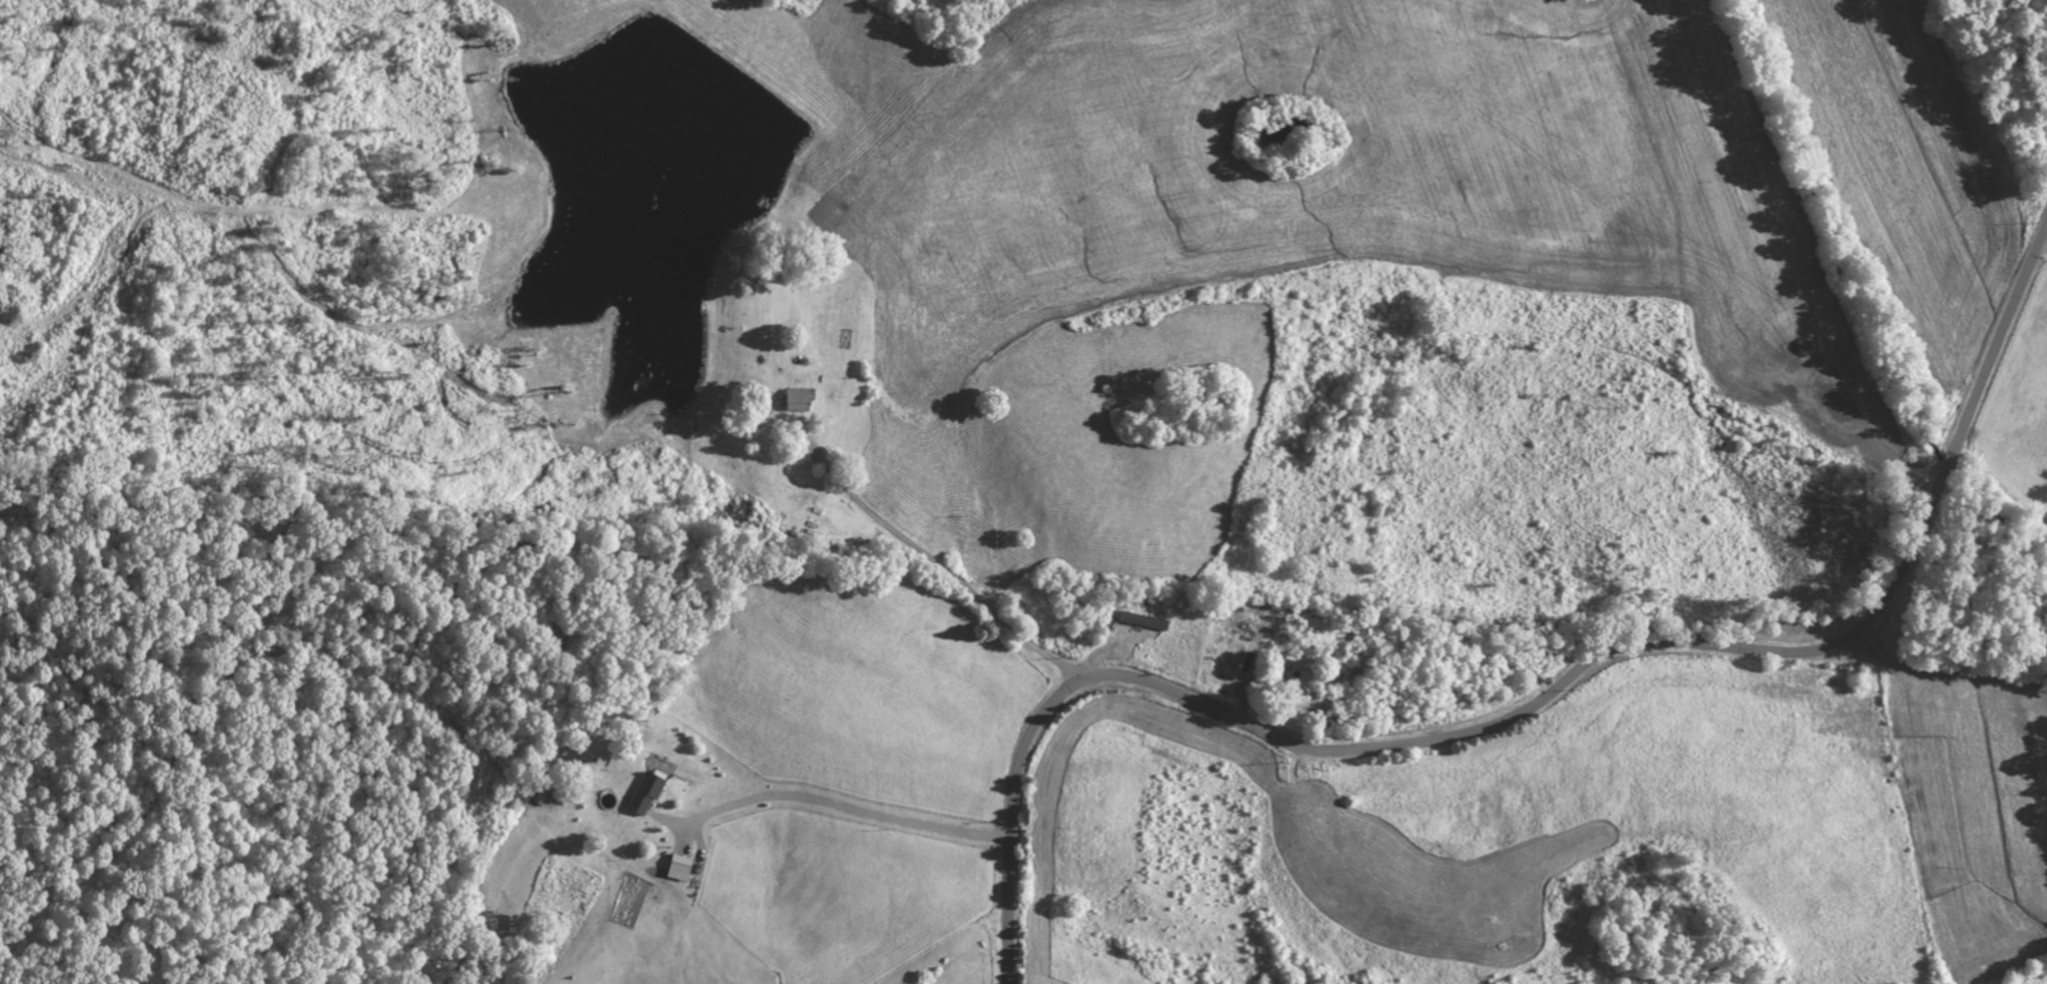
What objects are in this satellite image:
building: (1142, 619)
road: (1942, 664)
road: (1532, 705)
building: (644, 792)
road: (833, 803)

